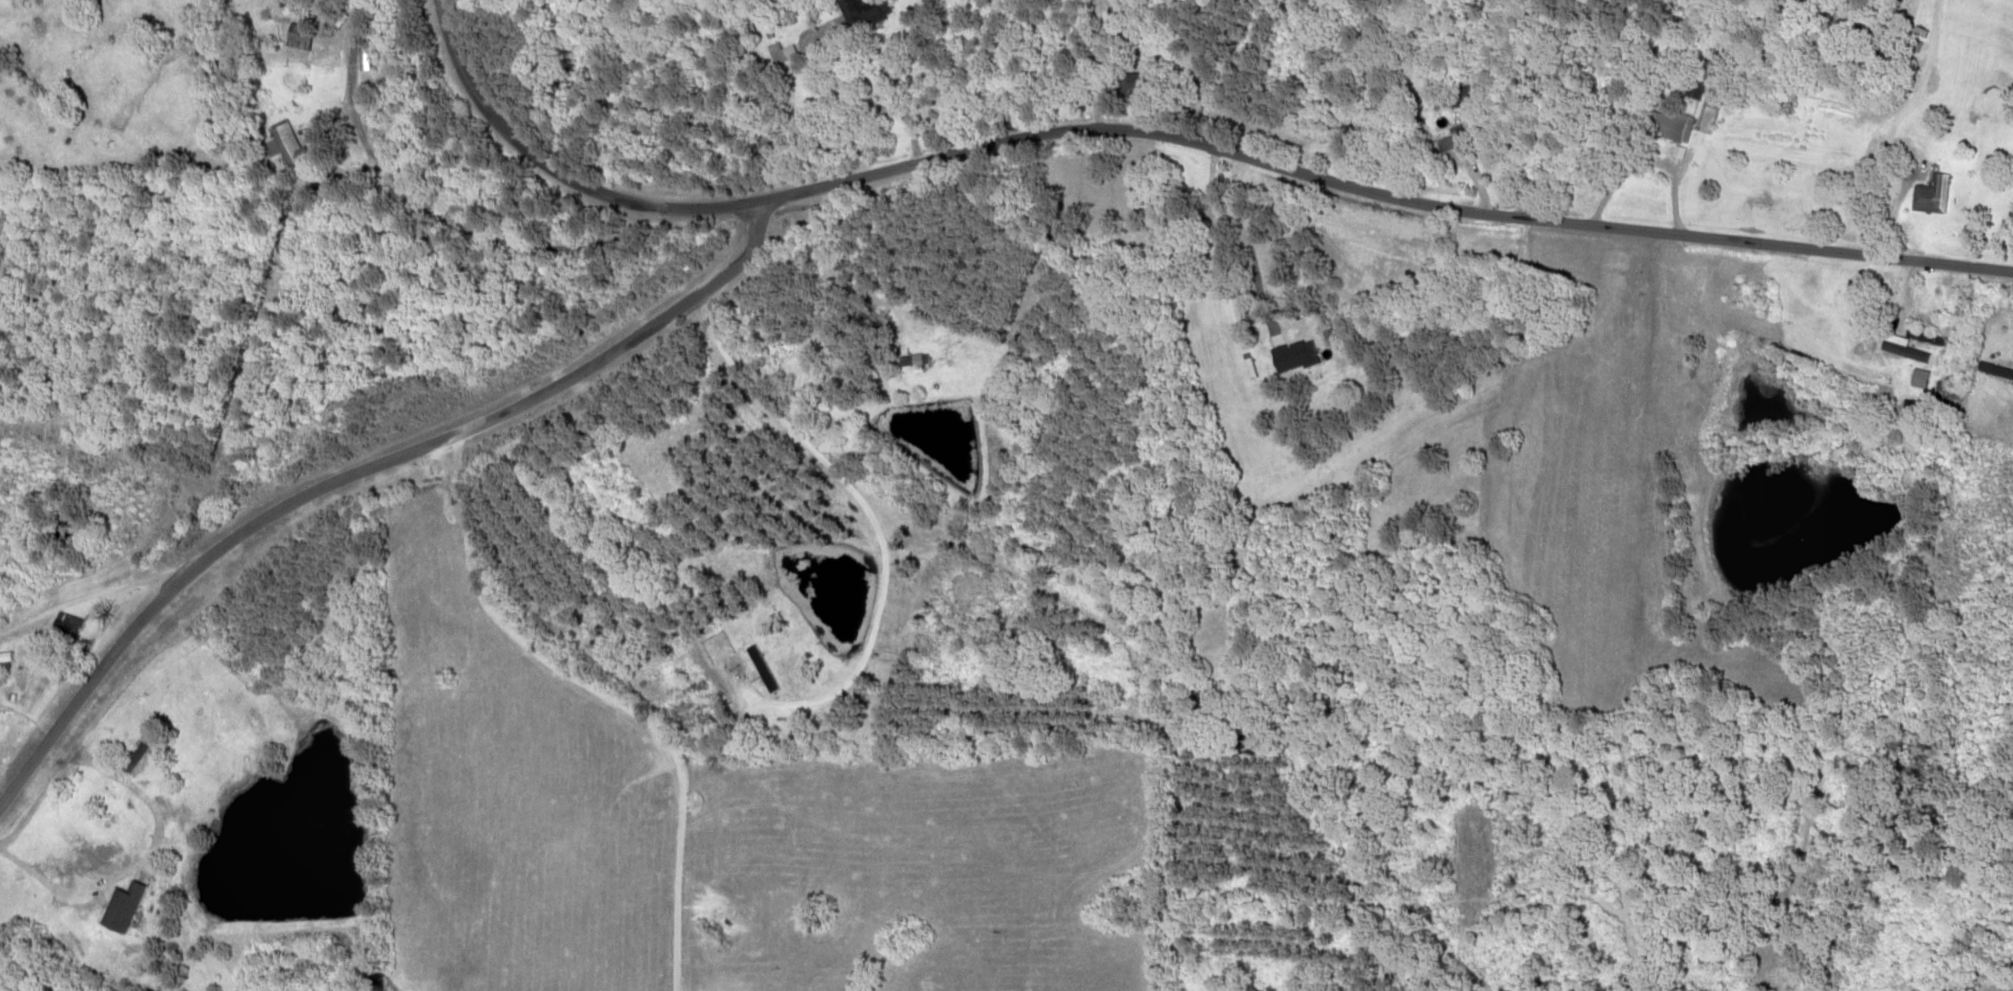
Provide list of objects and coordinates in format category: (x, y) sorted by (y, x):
building: (868, 11)
building: (305, 36)
building: (785, 52)
building: (369, 58)
building: (1143, 83)
building: (1673, 125)
building: (289, 146)
building: (1462, 146)
building: (1682, 151)
road: (553, 166)
road: (1379, 189)
building: (1937, 195)
building: (1909, 346)
building: (1300, 356)
building: (920, 358)
building: (1925, 378)
road: (359, 471)
building: (7, 655)
building: (767, 667)
road: (610, 696)
building: (128, 905)

